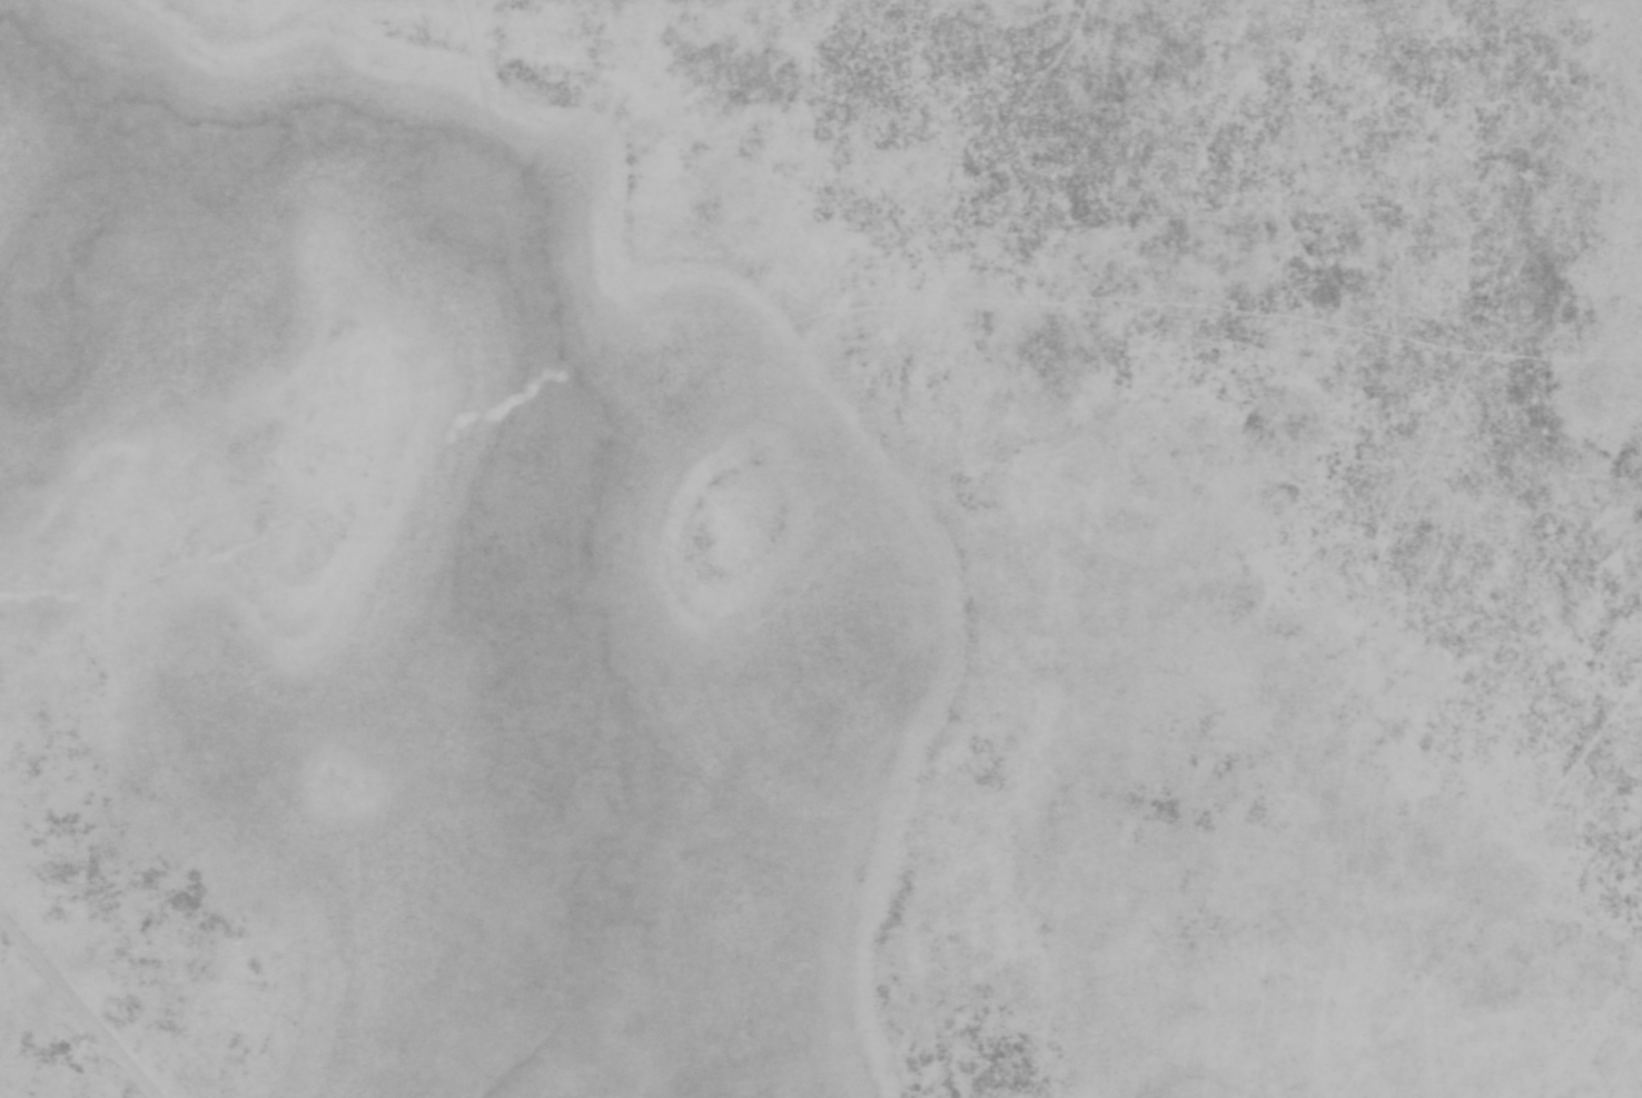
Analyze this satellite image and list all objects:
road: (73, 1005)

